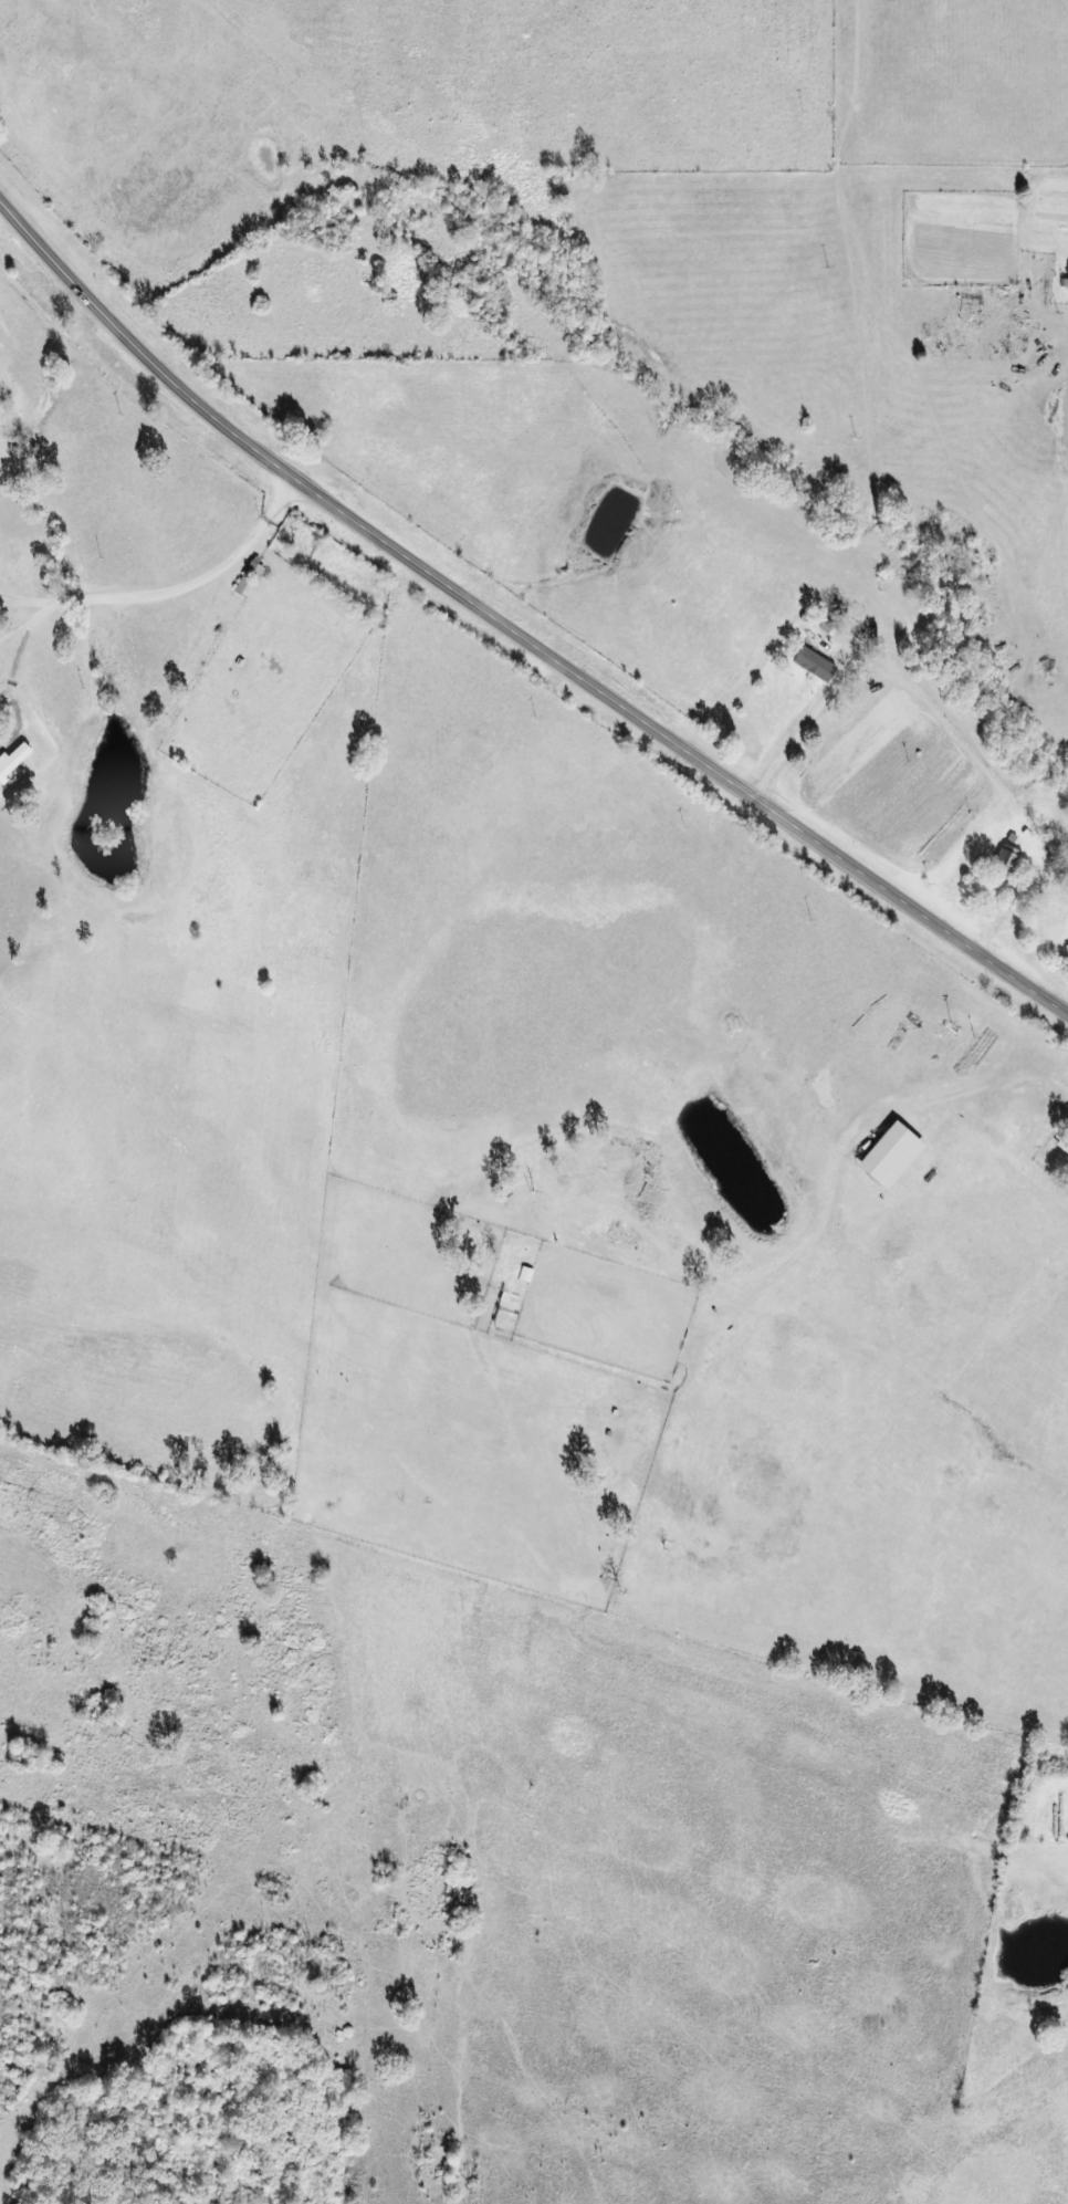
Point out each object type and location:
building: (1067, 278)
road: (510, 617)
building: (824, 621)
building: (814, 665)
building: (12, 761)
building: (1004, 864)
building: (888, 1156)

